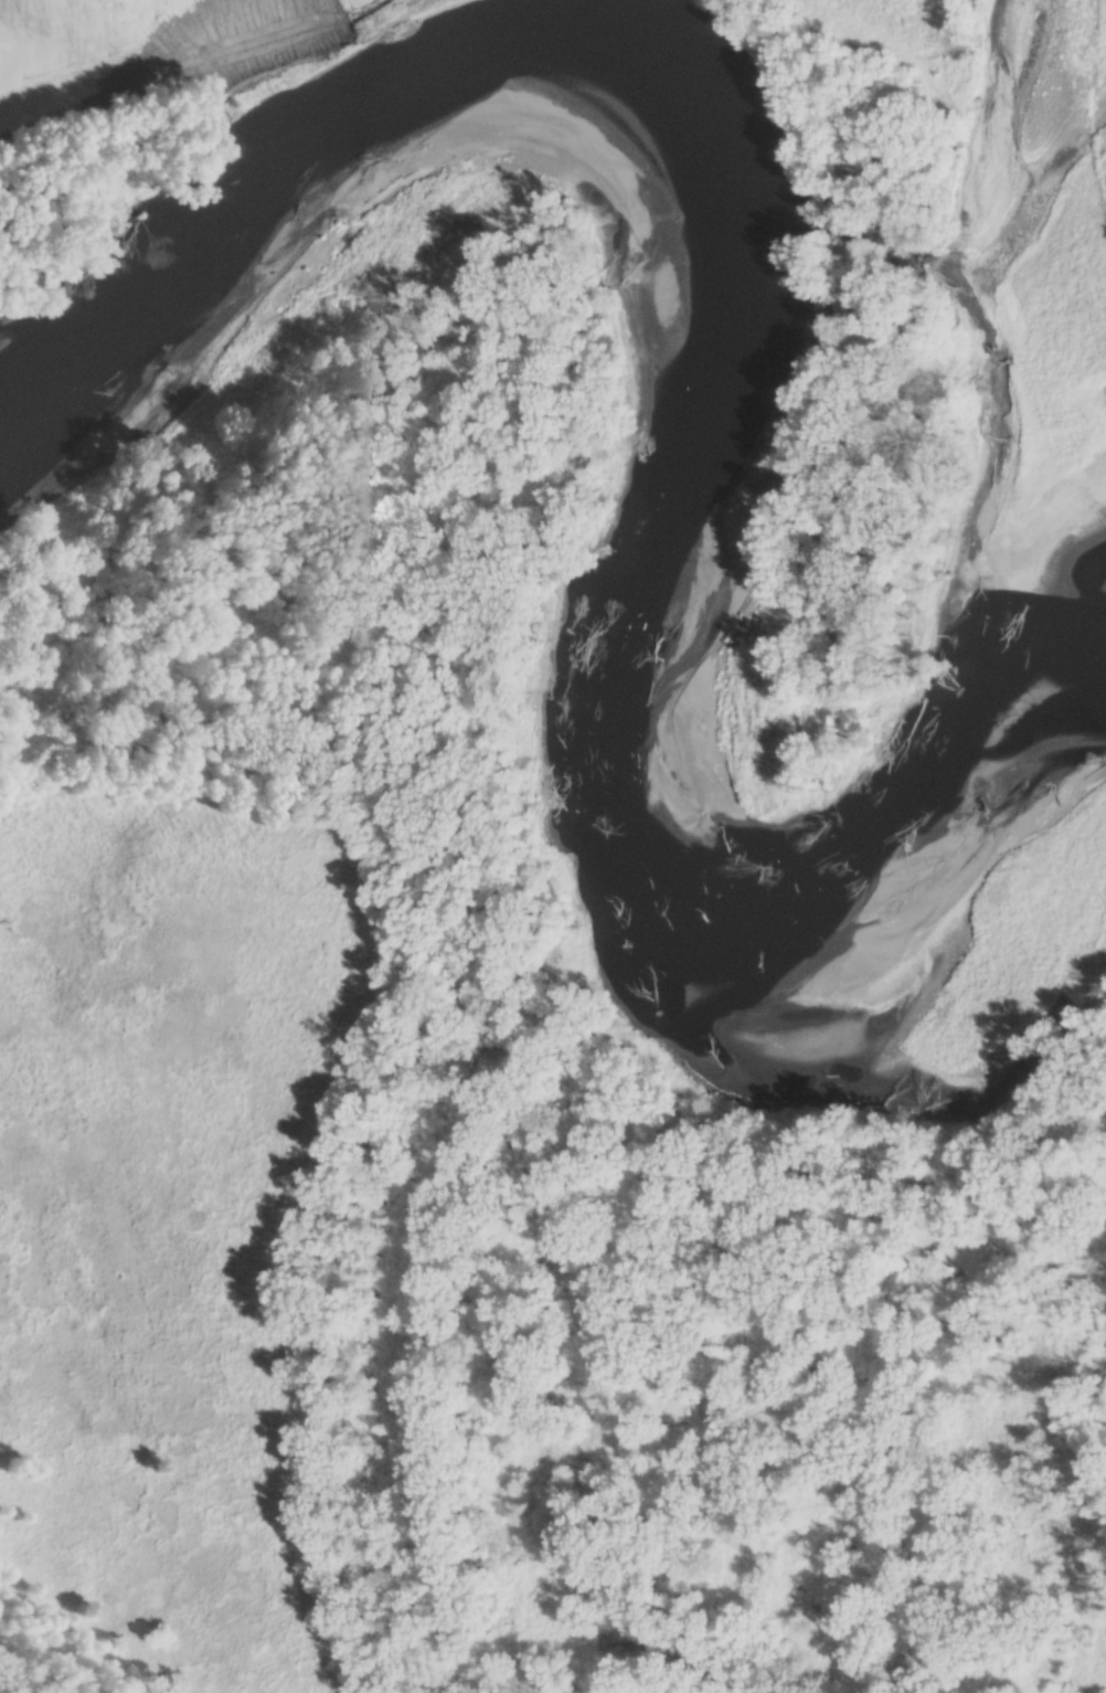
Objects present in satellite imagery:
river: (1065, 186)
river: (724, 358)

